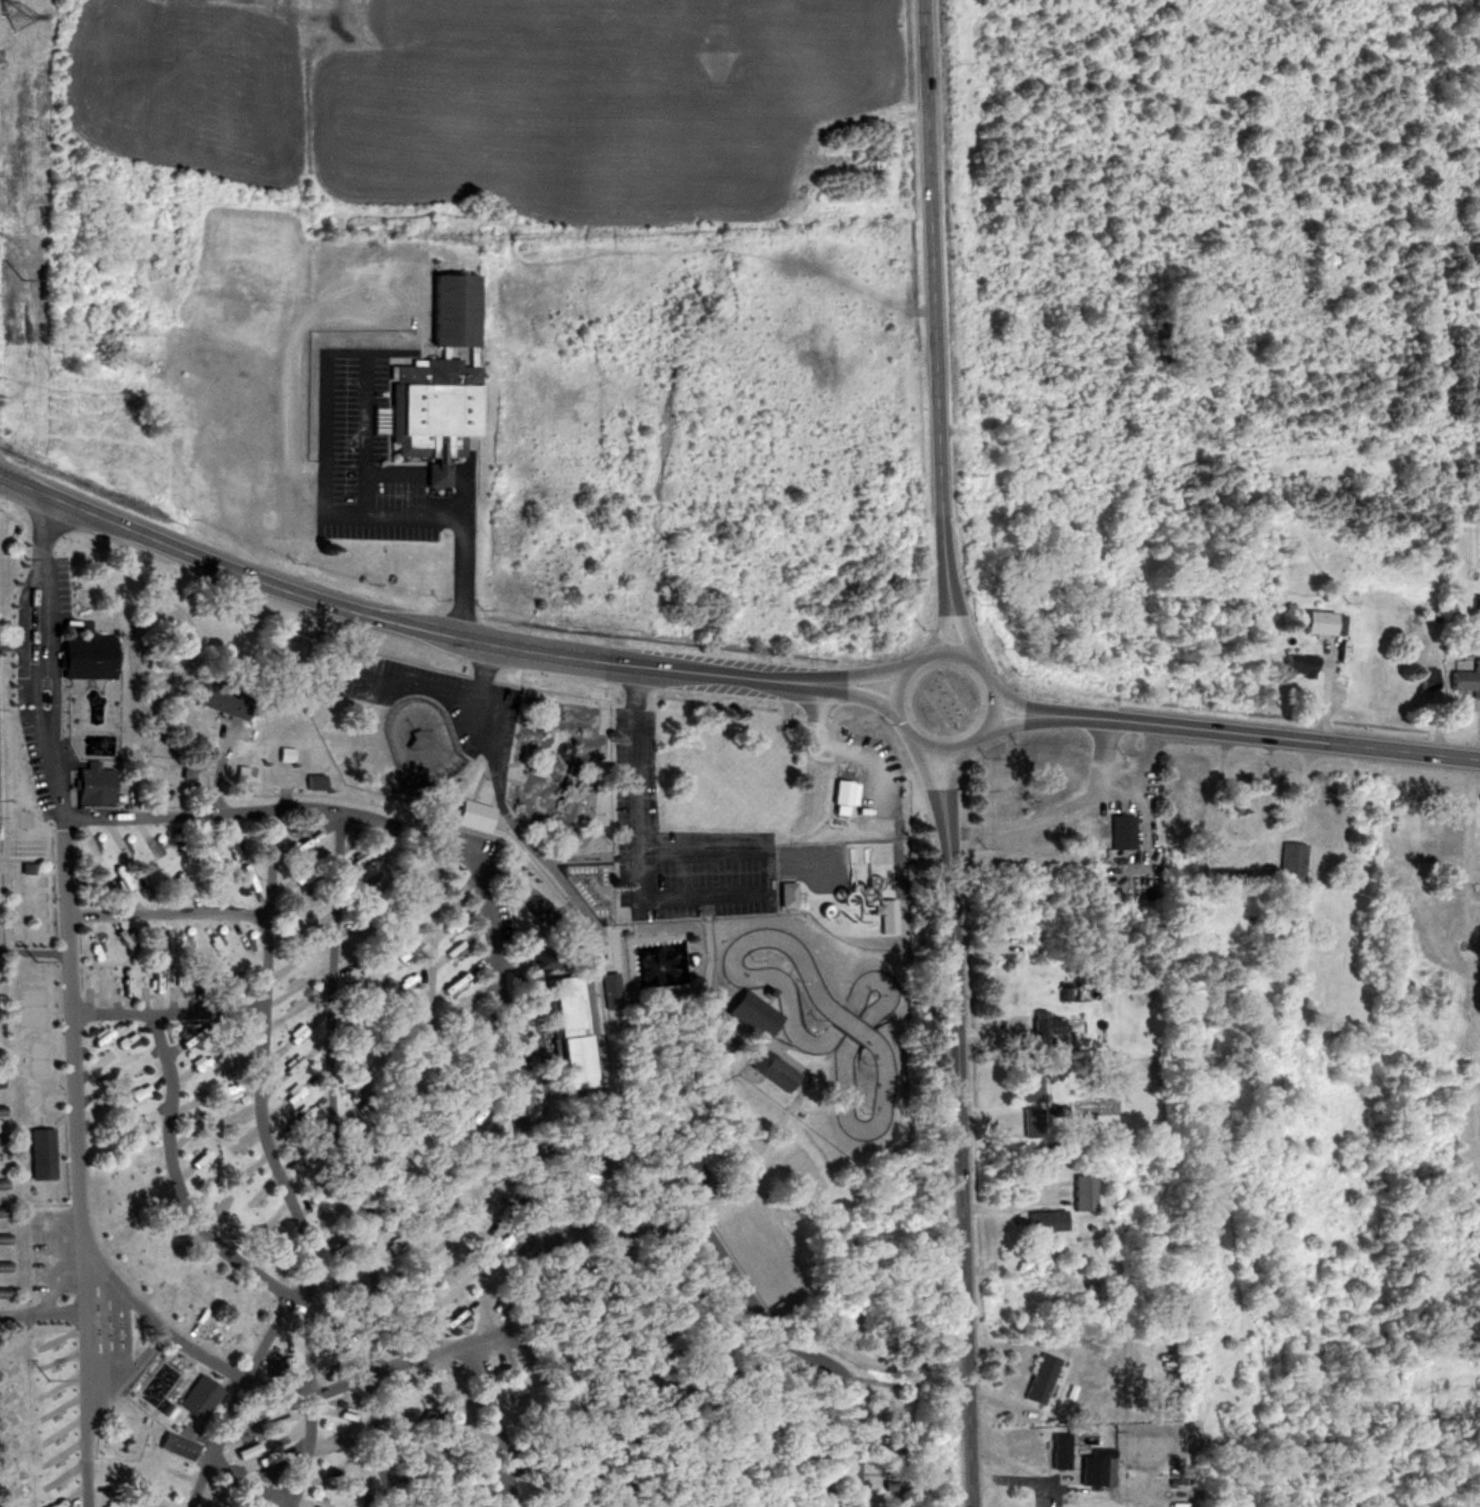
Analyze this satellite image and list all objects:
power tower: (14, 14)
power tower: (21, 279)
road: (939, 295)
building: (448, 308)
building: (434, 410)
parking lot: (366, 457)
building: (439, 477)
road: (368, 488)
power tower: (27, 557)
road: (466, 576)
parking lot: (63, 596)
railway: (172, 606)
building: (1316, 621)
road: (399, 623)
road: (944, 624)
road: (966, 627)
parking lot: (28, 643)
building: (86, 656)
building: (1295, 663)
road: (868, 672)
road: (988, 673)
road: (484, 674)
building: (1465, 678)
road: (863, 694)
parking lot: (433, 699)
road: (1015, 699)
building: (221, 700)
building: (96, 717)
road: (1016, 719)
road: (1263, 736)
park: (423, 744)
park: (147, 745)
building: (285, 755)
parking lot: (39, 770)
road: (927, 770)
building: (246, 772)
road: (951, 773)
building: (314, 782)
road: (480, 784)
building: (93, 785)
building: (839, 792)
building: (1183, 794)
road: (1058, 810)
building: (472, 815)
building: (1316, 819)
park: (26, 820)
building: (1120, 831)
building: (1444, 833)
parking lot: (677, 848)
park: (28, 849)
road: (549, 860)
building: (1290, 861)
building: (27, 869)
road: (480, 873)
building: (1446, 875)
park: (593, 887)
road: (671, 894)
building: (787, 895)
park: (29, 906)
road: (166, 914)
parking lot: (503, 923)
building: (549, 959)
power tower: (33, 962)
raceway: (735, 966)
fountain: (661, 969)
theme park: (694, 971)
road: (712, 975)
raceway: (876, 982)
building: (1427, 983)
building: (563, 984)
building: (1065, 993)
building: (564, 996)
road: (72, 1002)
building: (566, 1008)
park: (32, 1009)
building: (1427, 1011)
road: (168, 1014)
building: (753, 1014)
railway: (604, 1017)
building: (568, 1026)
building: (1042, 1028)
road: (615, 1033)
road: (540, 1043)
parking lot: (523, 1053)
building: (570, 1054)
park: (40, 1061)
road: (751, 1064)
road: (605, 1072)
building: (774, 1072)
building: (572, 1082)
road: (801, 1082)
building: (1028, 1083)
road: (390, 1091)
road: (443, 1092)
road: (332, 1098)
road: (640, 1106)
road: (261, 1108)
building: (0, 1110)
road: (793, 1110)
road: (64, 1117)
building: (1030, 1125)
building: (601, 1126)
raceway: (868, 1131)
building: (0, 1136)
raceway: (908, 1150)
road: (542, 1153)
building: (41, 1154)
road: (66, 1155)
road: (957, 1157)
road: (14, 1166)
building: (589, 1167)
building: (702, 1169)
building: (688, 1172)
building: (1, 1182)
road: (181, 1187)
road: (539, 1188)
building: (1081, 1192)
road: (45, 1195)
building: (1, 1210)
building: (1043, 1221)
parking lot: (571, 1228)
building: (3, 1237)
parking lot: (54, 1247)
building: (632, 1263)
building: (672, 1263)
building: (3, 1264)
building: (549, 1269)
building: (614, 1283)
building: (1089, 1289)
road: (57, 1290)
building: (1, 1291)
building: (561, 1304)
road: (42, 1314)
road: (598, 1316)
building: (713, 1318)
building: (624, 1319)
building: (667, 1330)
building: (572, 1334)
road: (269, 1337)
road: (780, 1343)
road: (517, 1344)
building: (592, 1361)
building: (689, 1364)
power tower: (49, 1376)
building: (795, 1377)
building: (1036, 1378)
road: (125, 1379)
building: (688, 1388)
building: (201, 1390)
road: (278, 1391)
building: (609, 1400)
road: (587, 1406)
building: (666, 1412)
road: (496, 1423)
railway: (731, 1434)
building: (641, 1437)
road: (377, 1443)
building: (570, 1444)
building: (177, 1446)
building: (886, 1446)
building: (1056, 1451)
building: (542, 1466)
building: (1089, 1467)
building: (456, 1473)
building: (585, 1477)
building: (429, 1478)
building: (807, 1479)
building: (686, 1482)
road: (202, 1483)
building: (893, 1483)
building: (551, 1489)
road: (257, 1490)
building: (711, 1492)
building: (460, 1498)
building: (363, 1499)
road: (291, 1504)
building: (892, 1504)
building: (1172, 1505)
building: (437, 1506)
building: (810, 1506)

